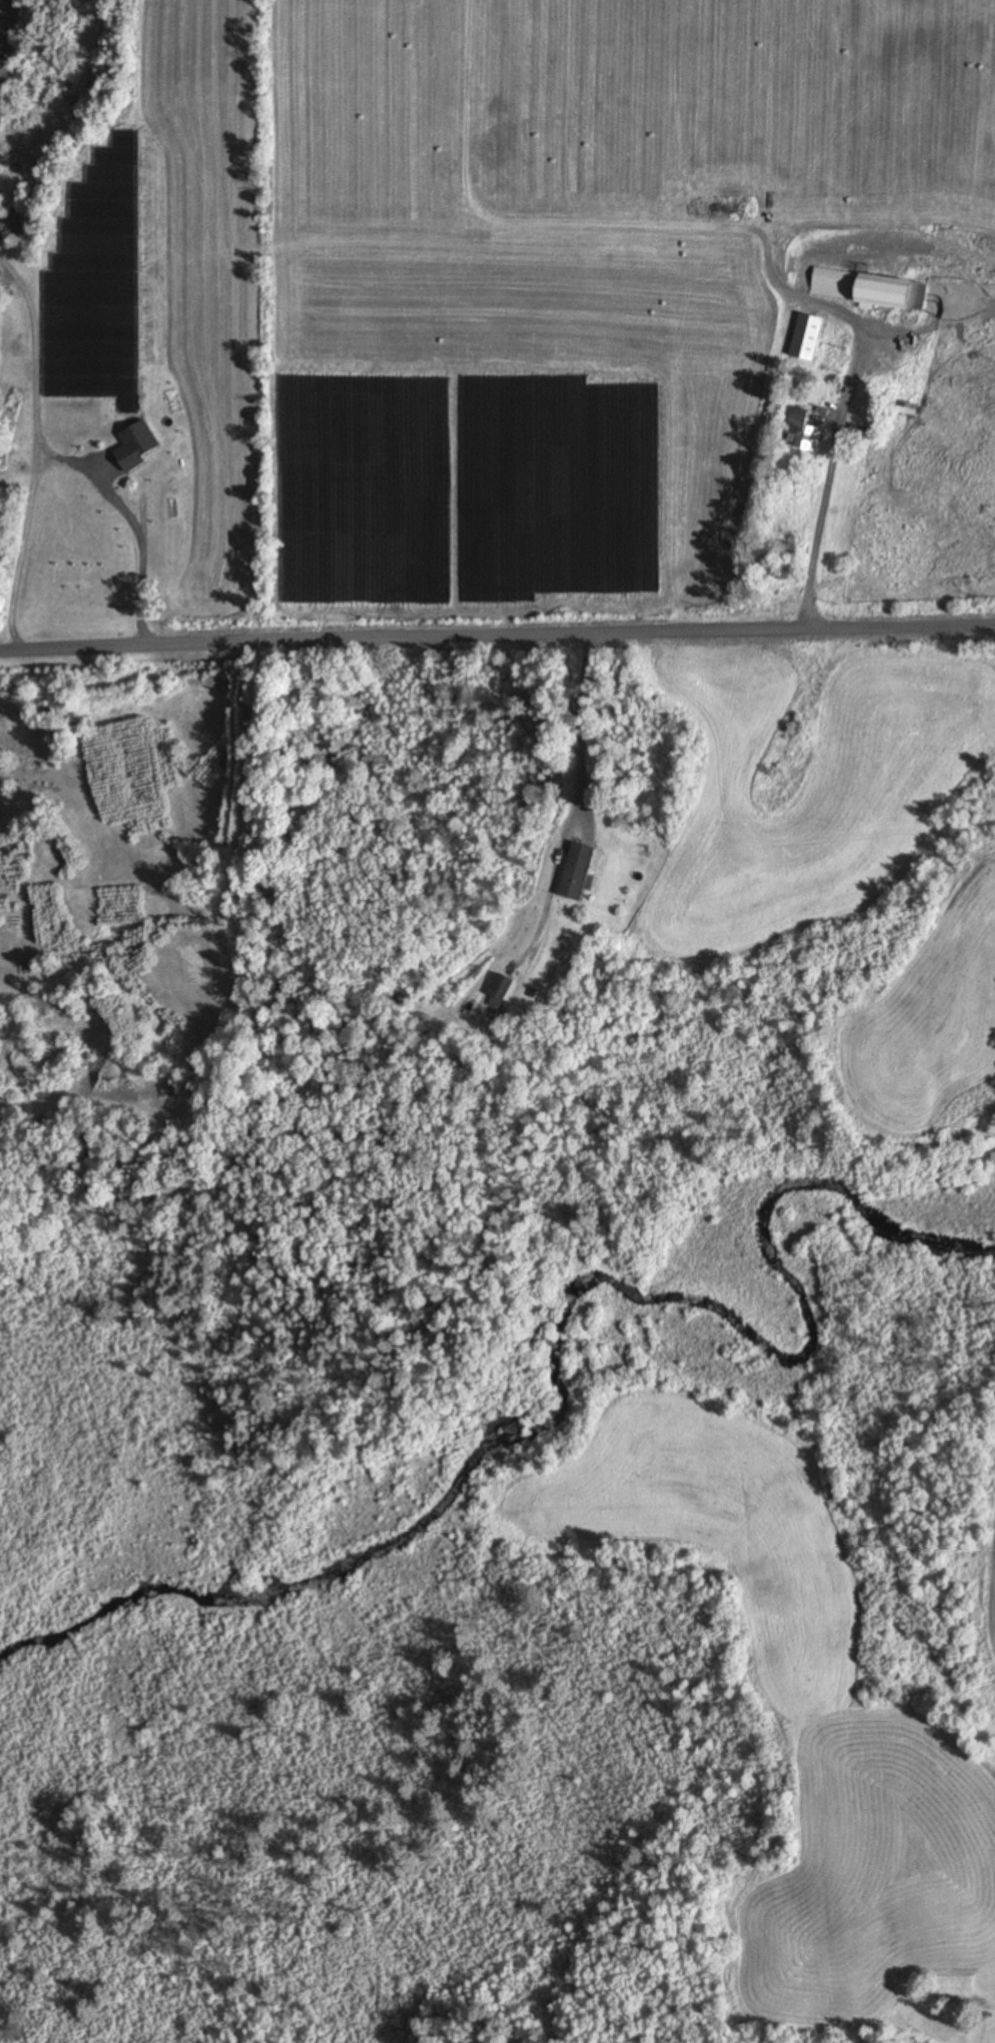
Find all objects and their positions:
building: (193, 287)
building: (872, 291)
building: (813, 338)
building: (911, 409)
building: (94, 415)
building: (811, 431)
building: (70, 450)
road: (497, 622)
building: (583, 872)
building: (505, 988)

